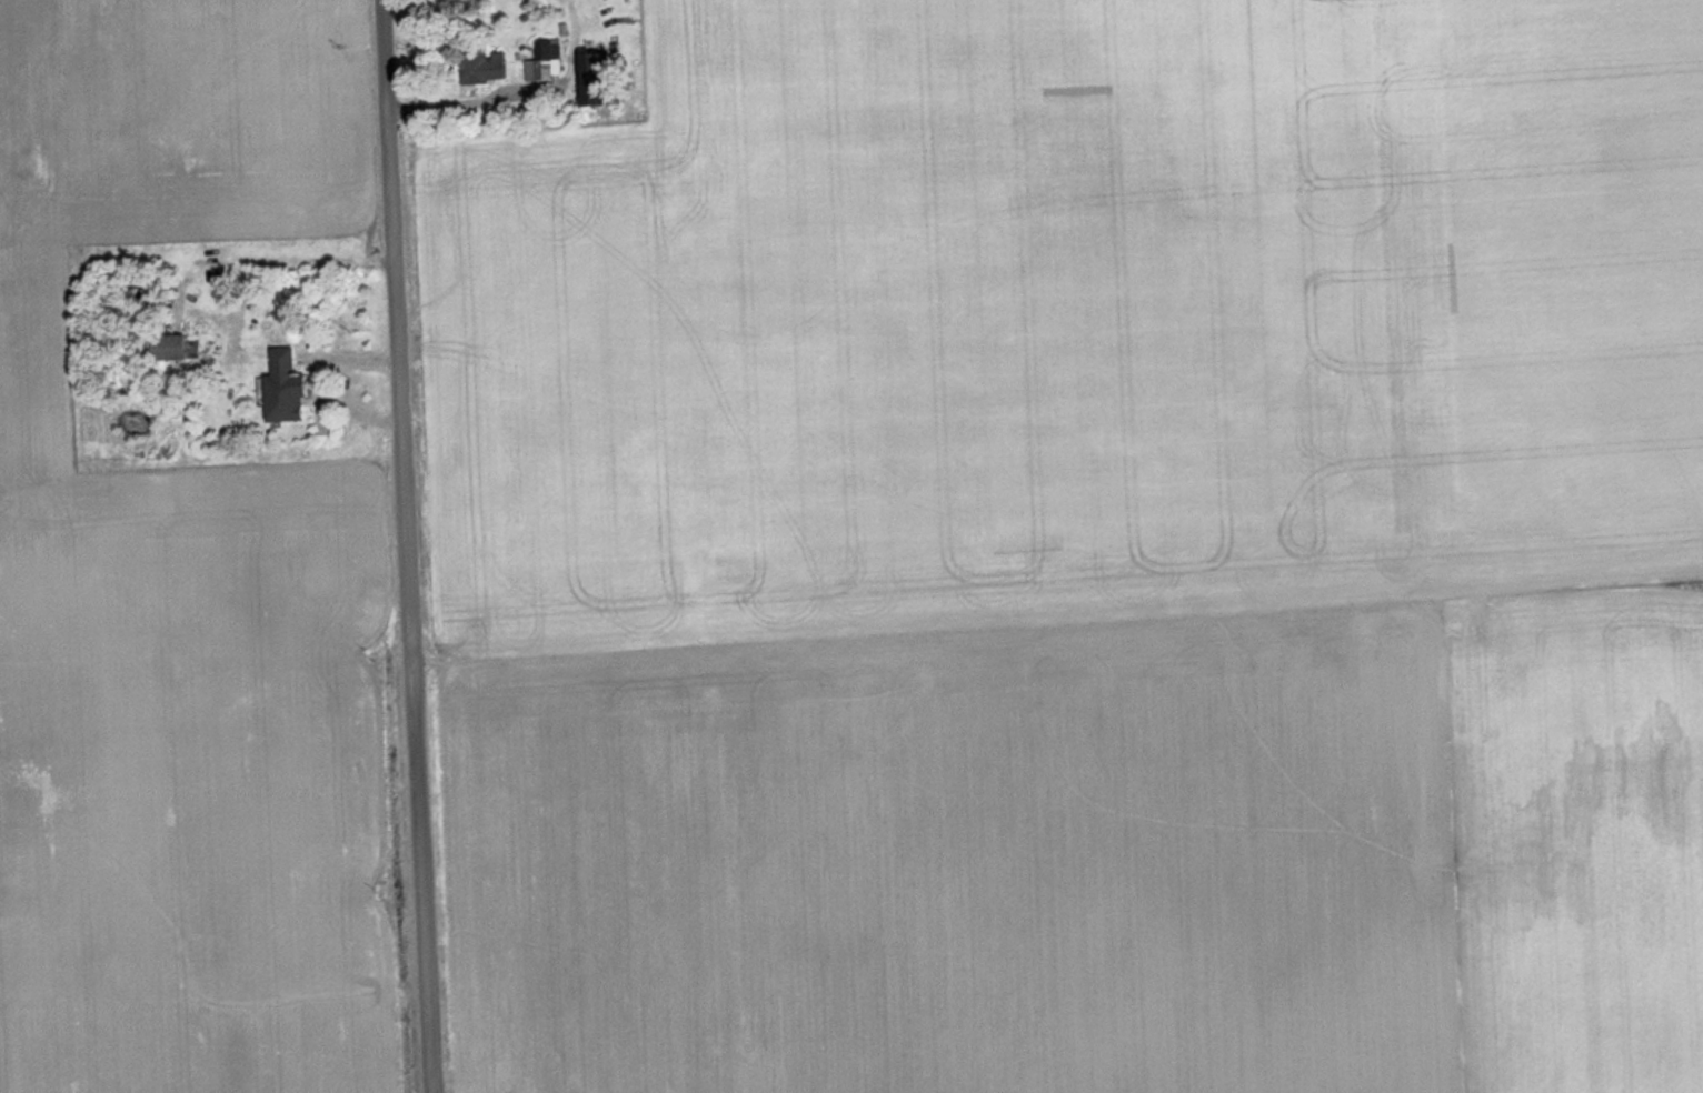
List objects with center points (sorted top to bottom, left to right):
building: (550, 59)
building: (478, 69)
building: (600, 79)
building: (172, 348)
building: (292, 390)
road: (401, 546)

